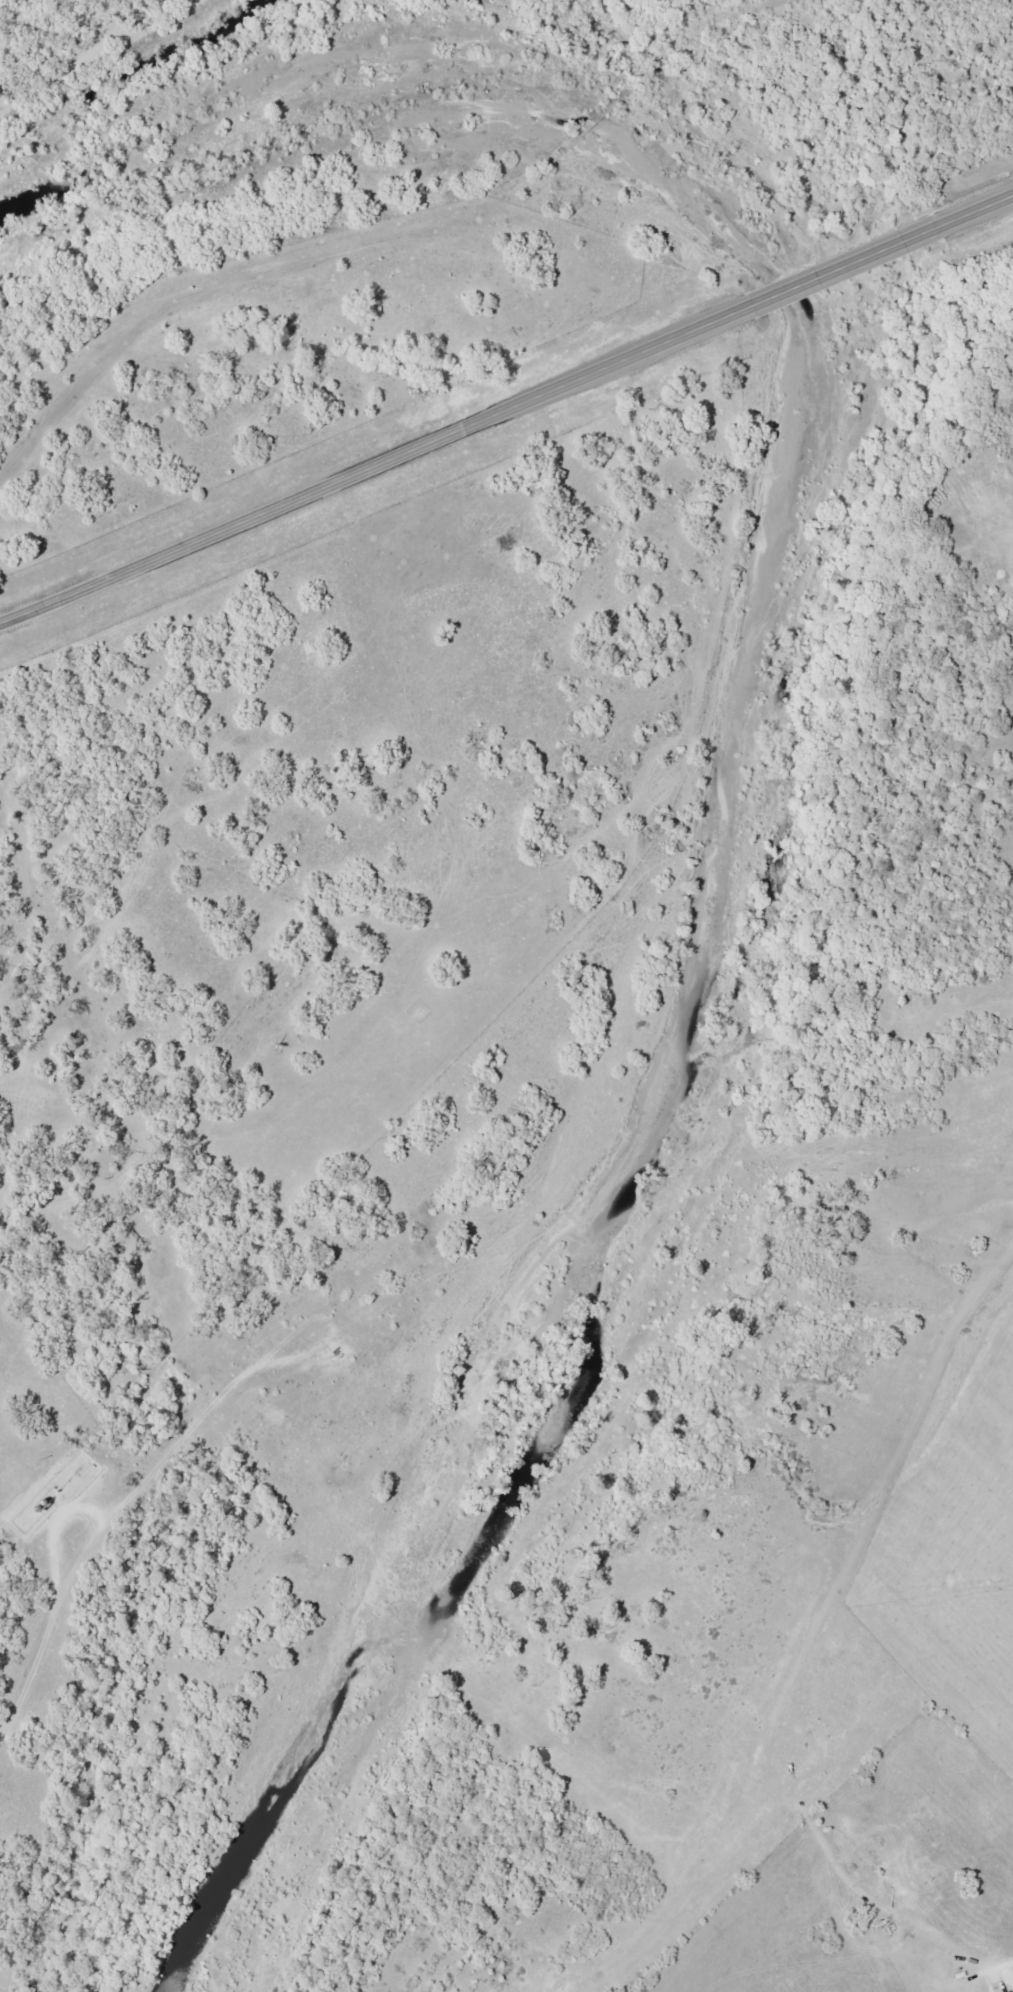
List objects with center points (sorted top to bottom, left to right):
road: (976, 206)
road: (845, 261)
road: (375, 460)
building: (885, 1924)
road: (1002, 1961)

